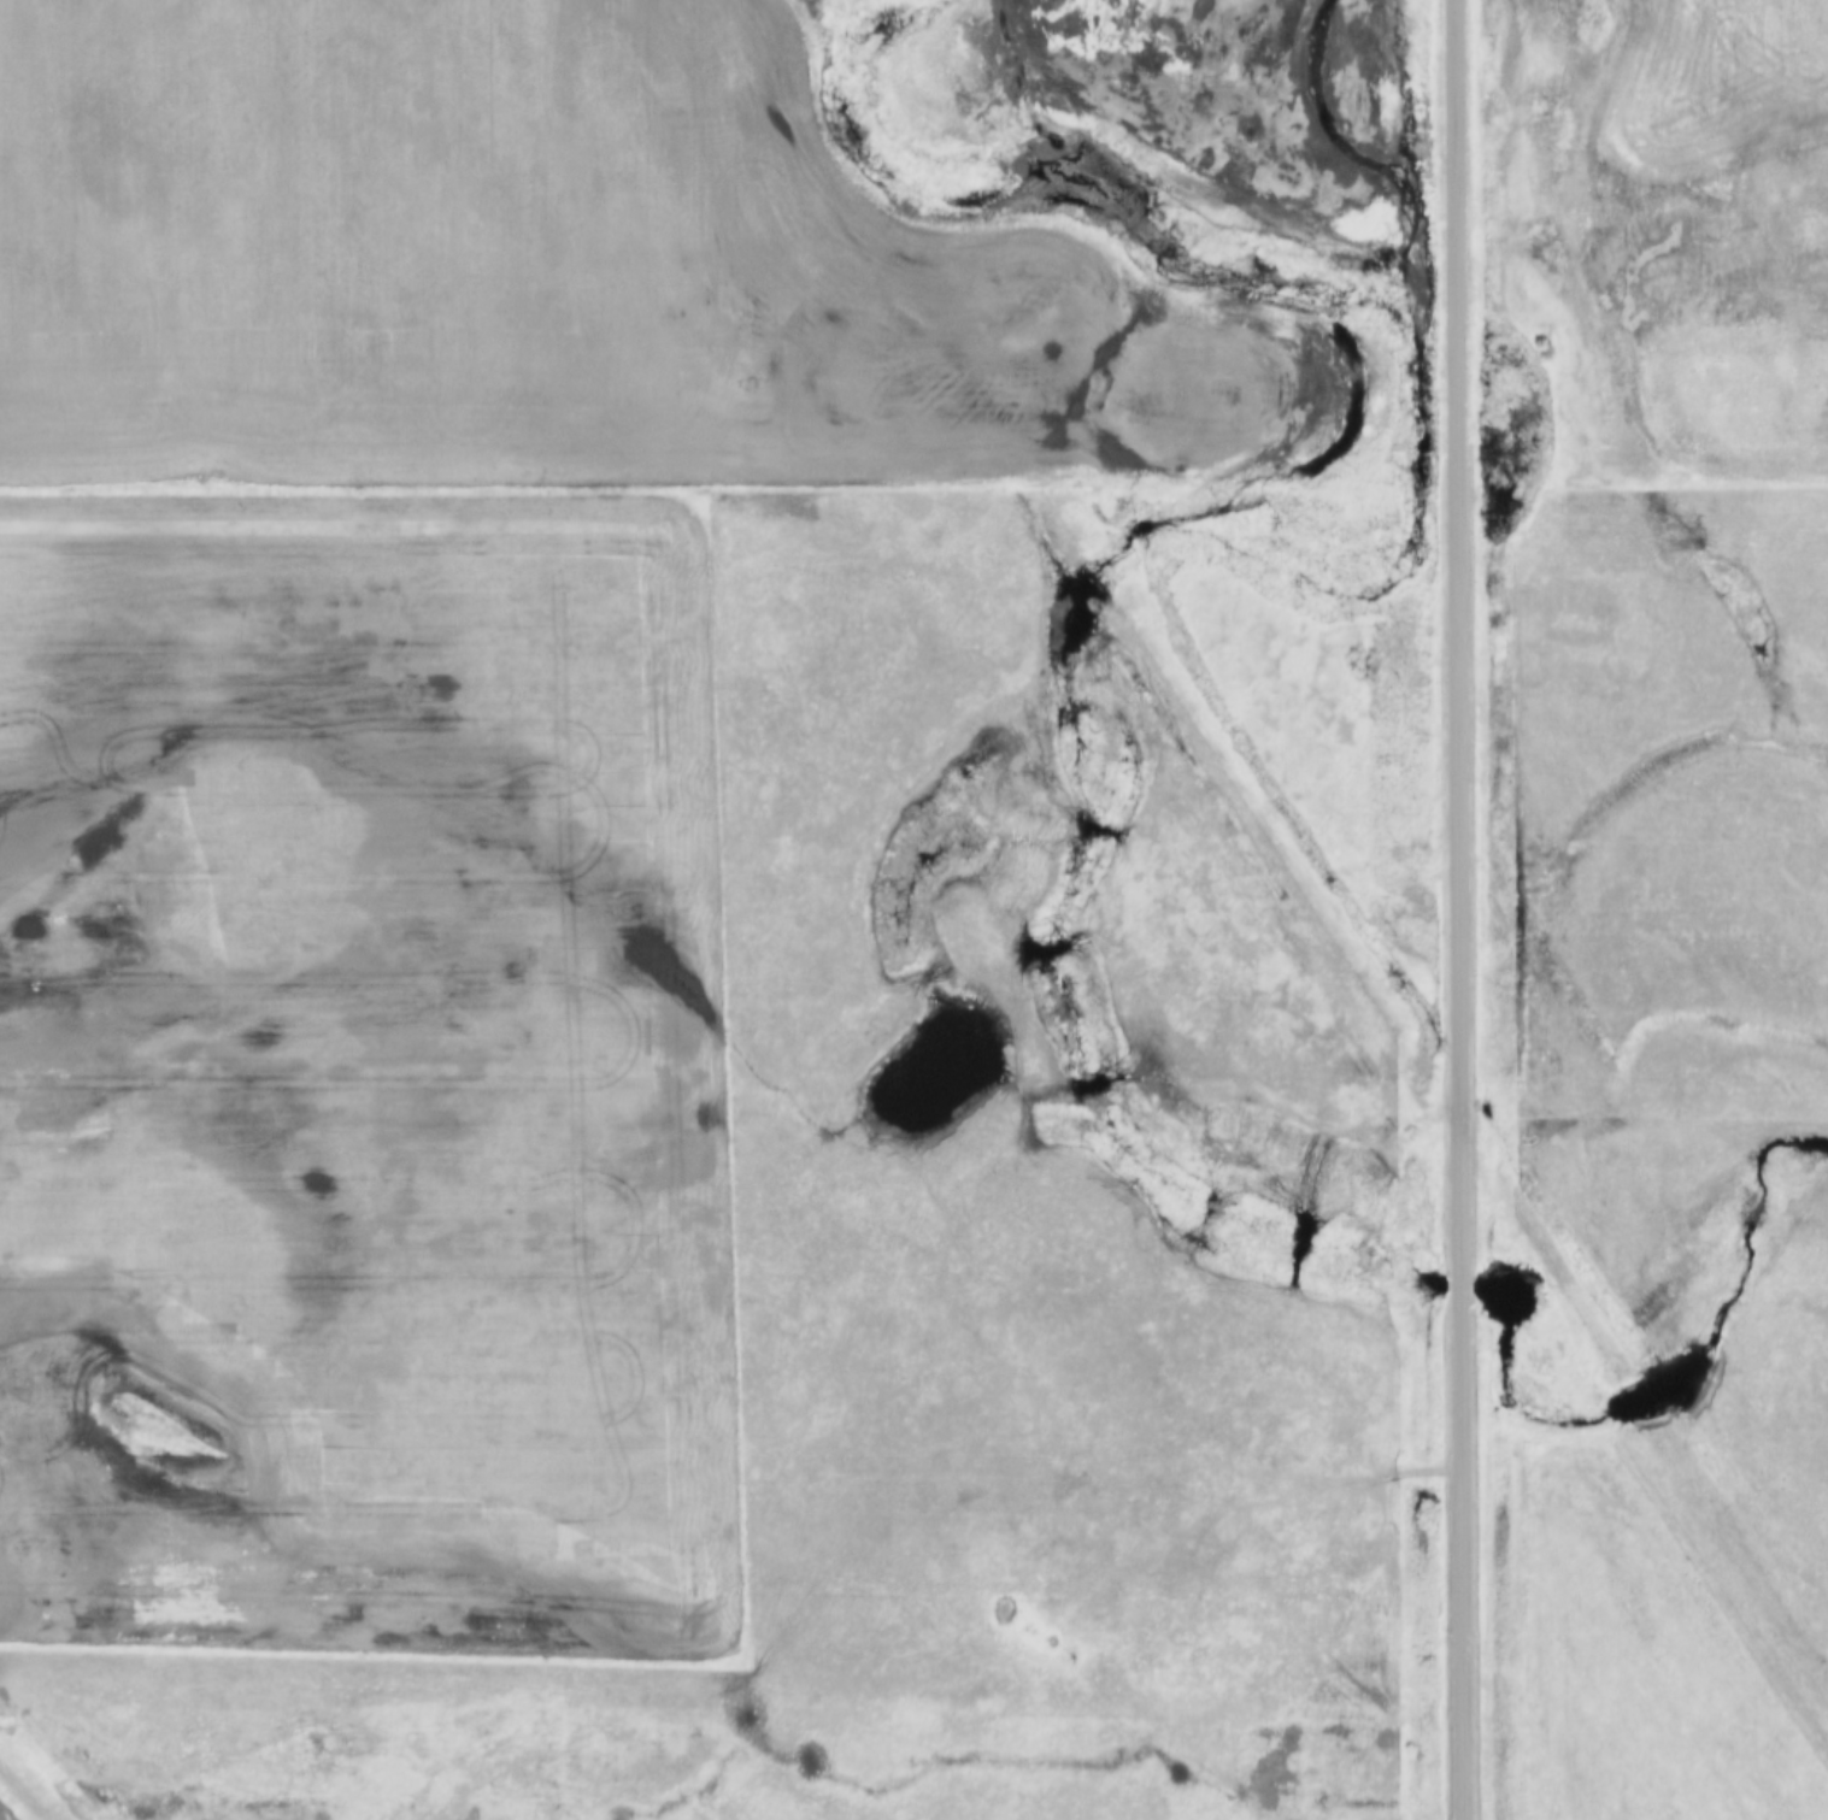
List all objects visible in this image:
road: (1456, 909)

